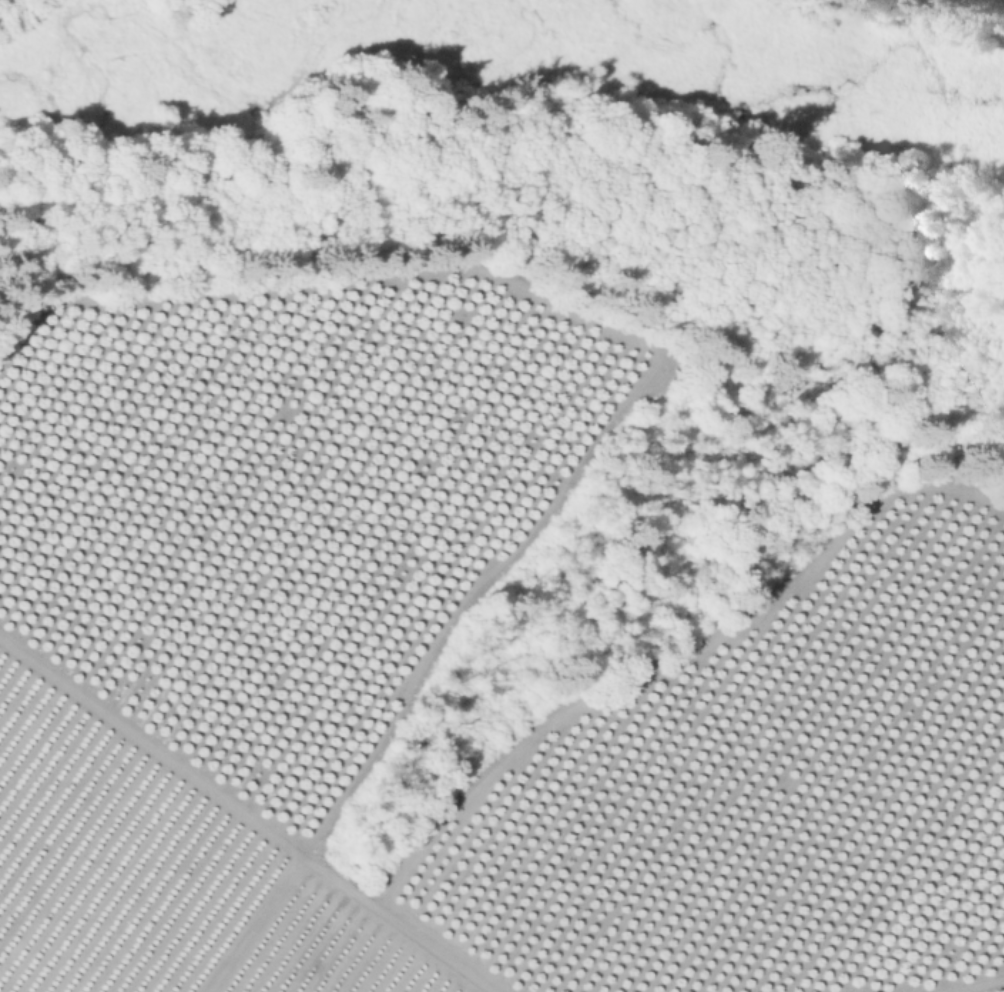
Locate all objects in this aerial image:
road: (247, 815)
crop: (168, 868)

